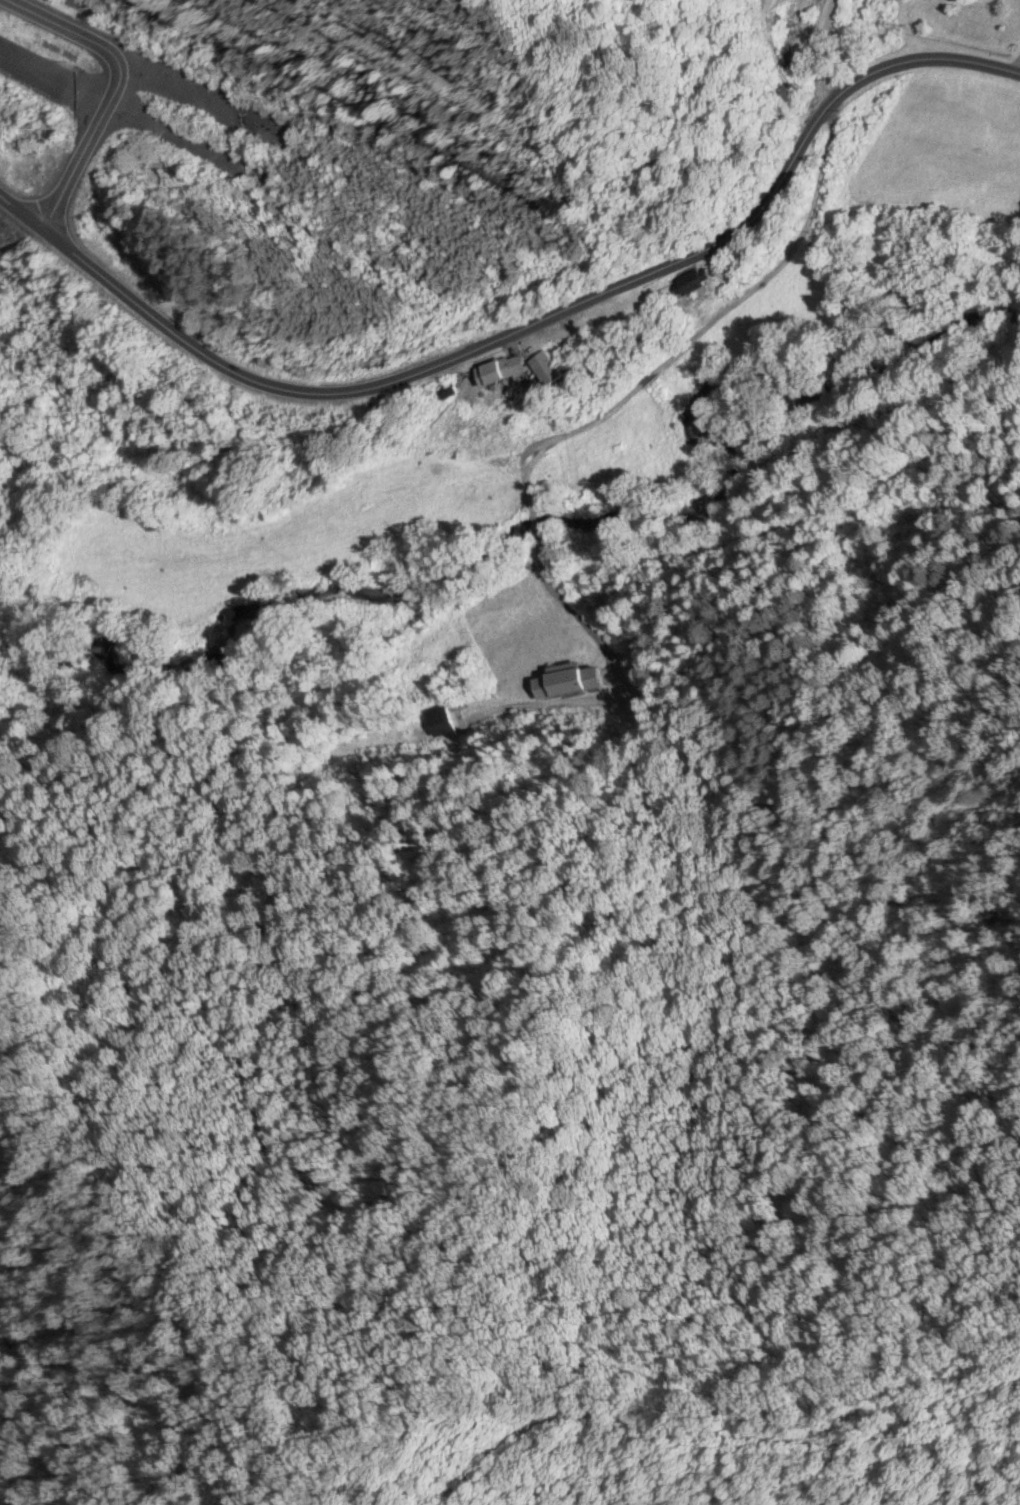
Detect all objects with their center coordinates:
road: (63, 19)
road: (118, 67)
road: (75, 160)
road: (523, 326)
road: (626, 392)

